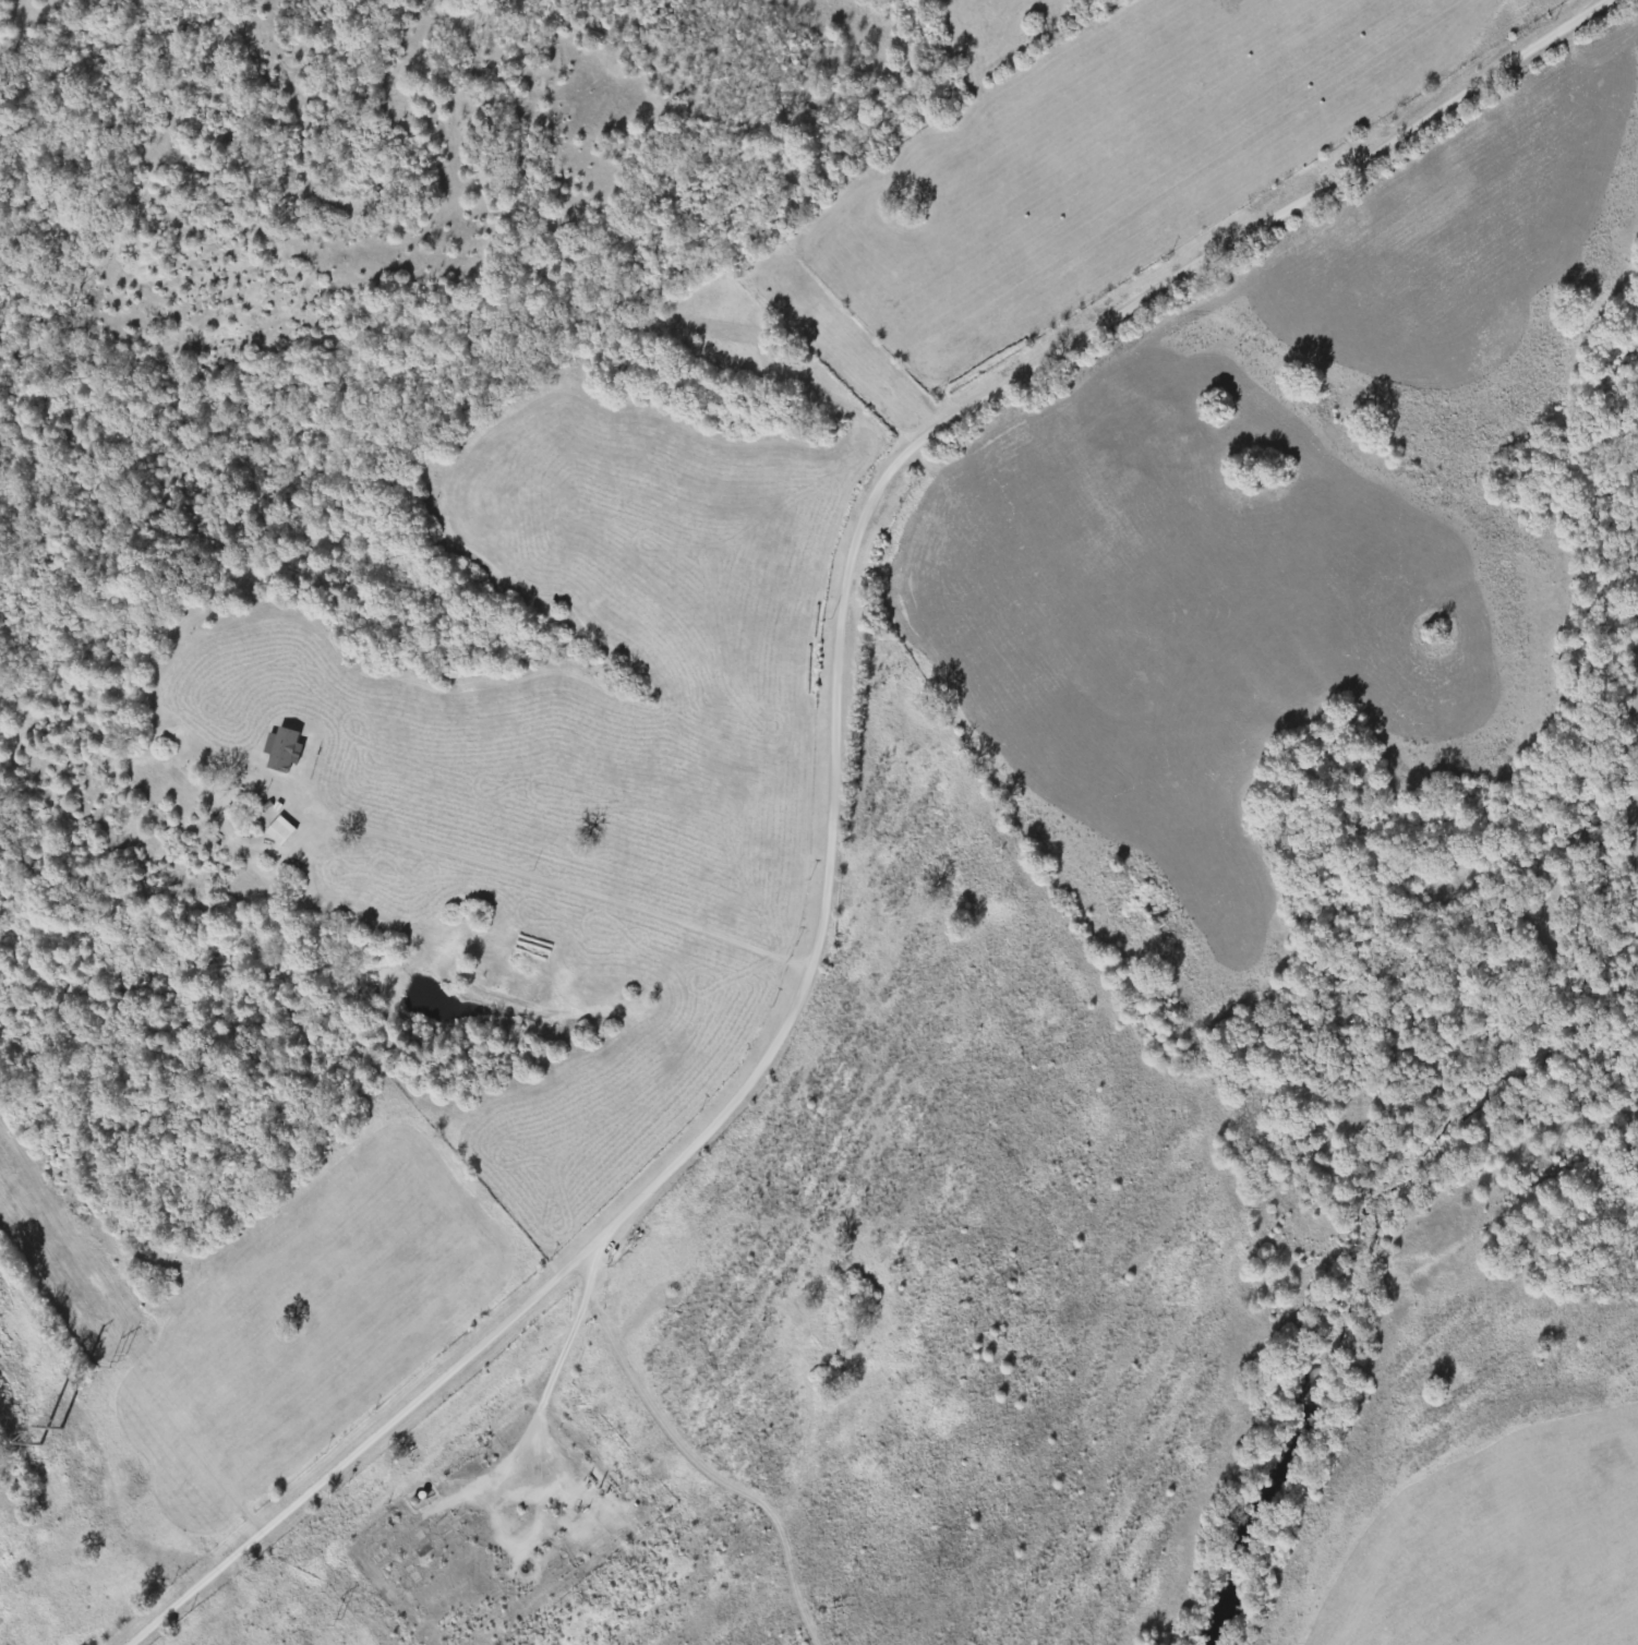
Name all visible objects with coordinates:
building: (287, 752)
road: (846, 782)
building: (284, 832)
power tower: (117, 1361)
power tower: (35, 1446)
road: (51, 1547)
power tower: (334, 1618)

